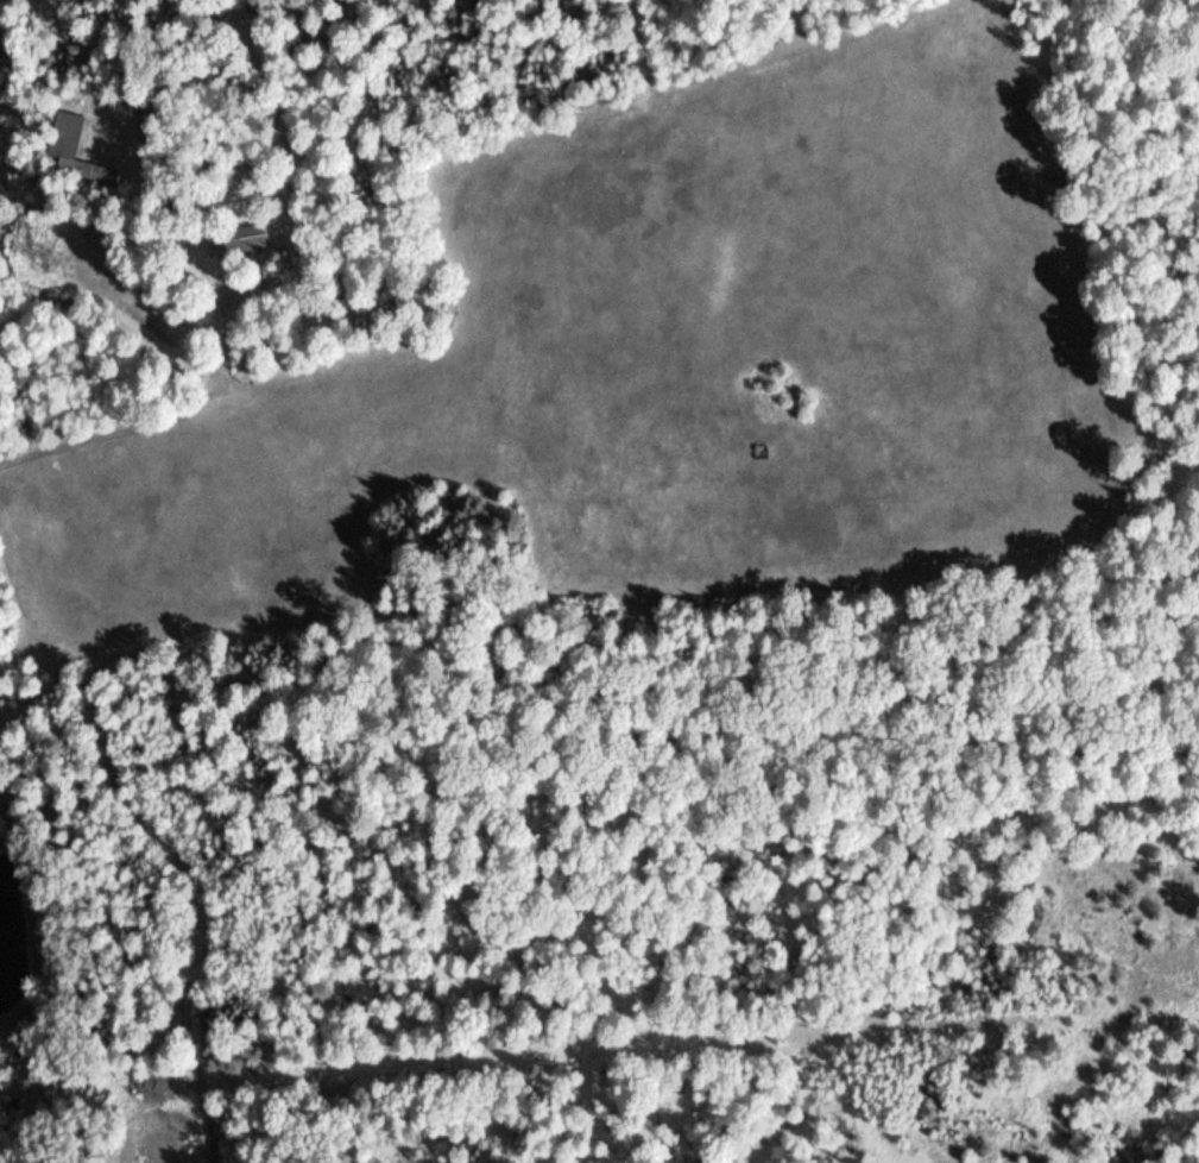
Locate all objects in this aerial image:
building: (76, 149)
building: (238, 239)

